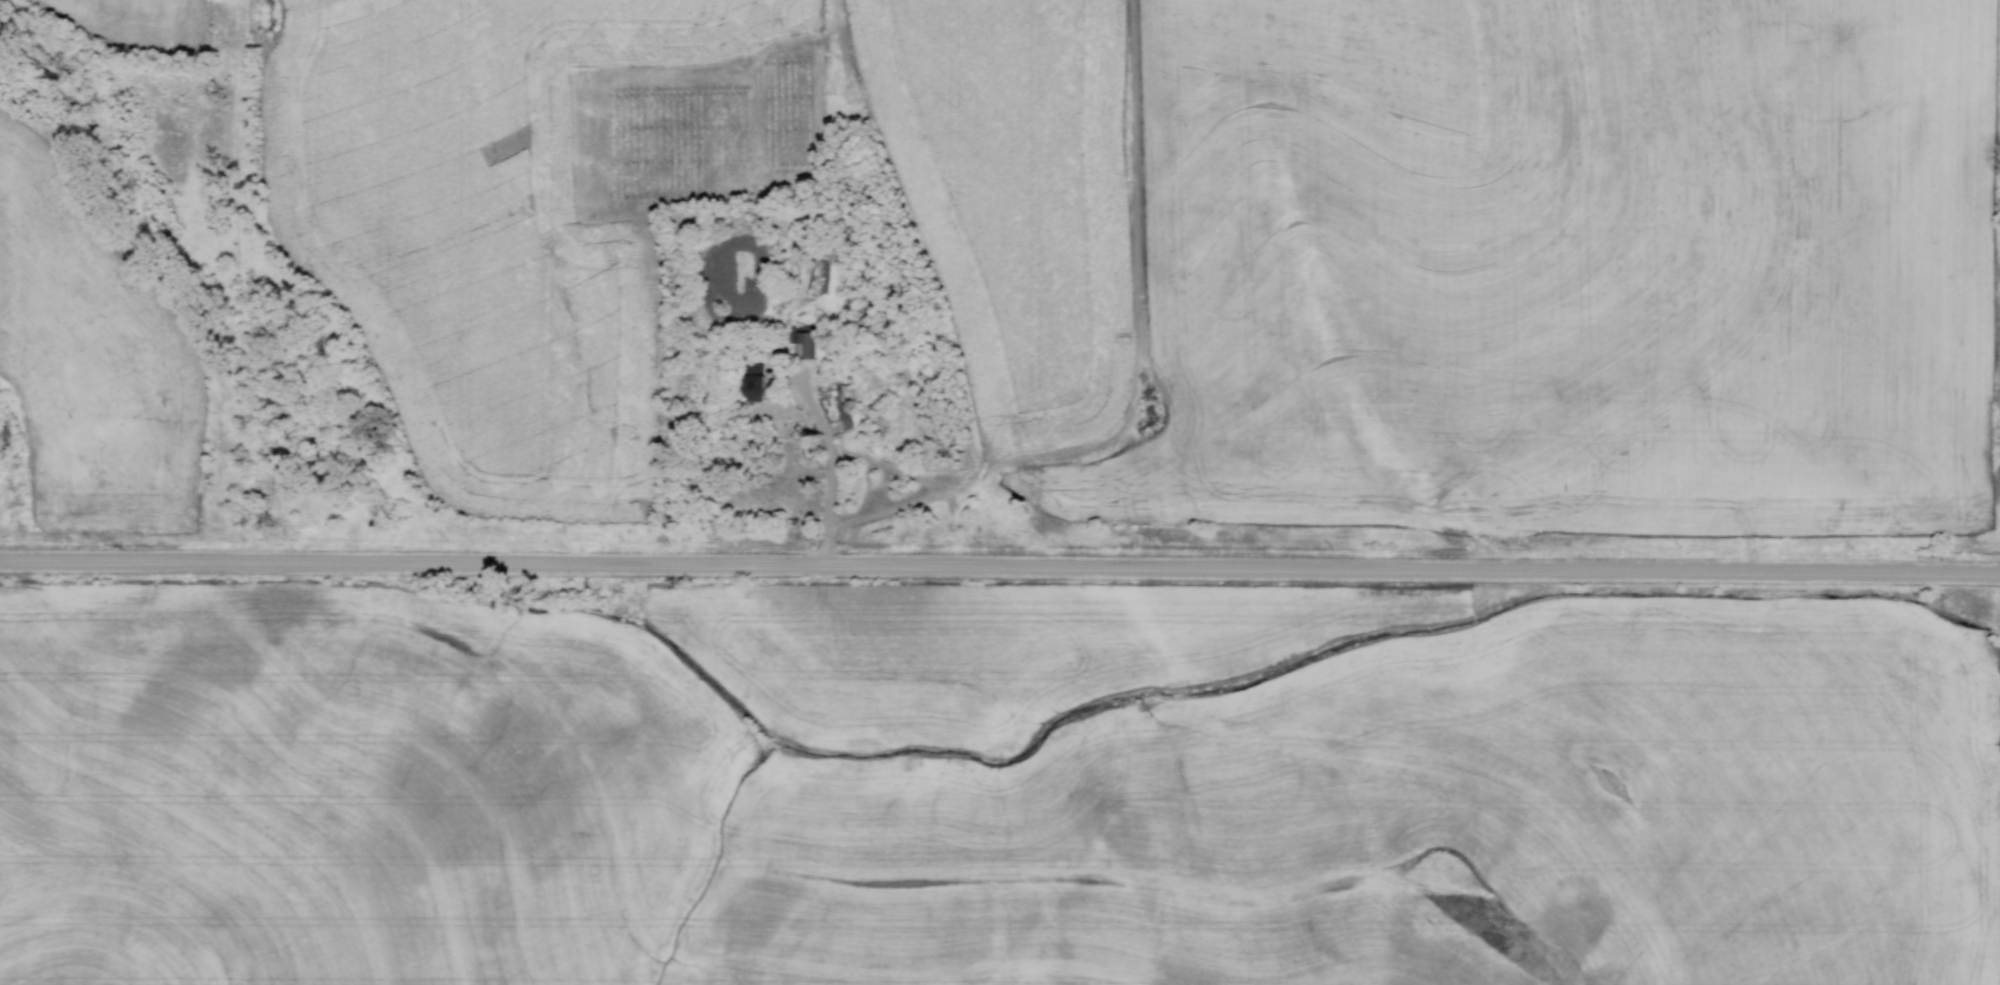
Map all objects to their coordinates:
building: (802, 342)
building: (752, 384)
road: (834, 471)
road: (999, 568)

